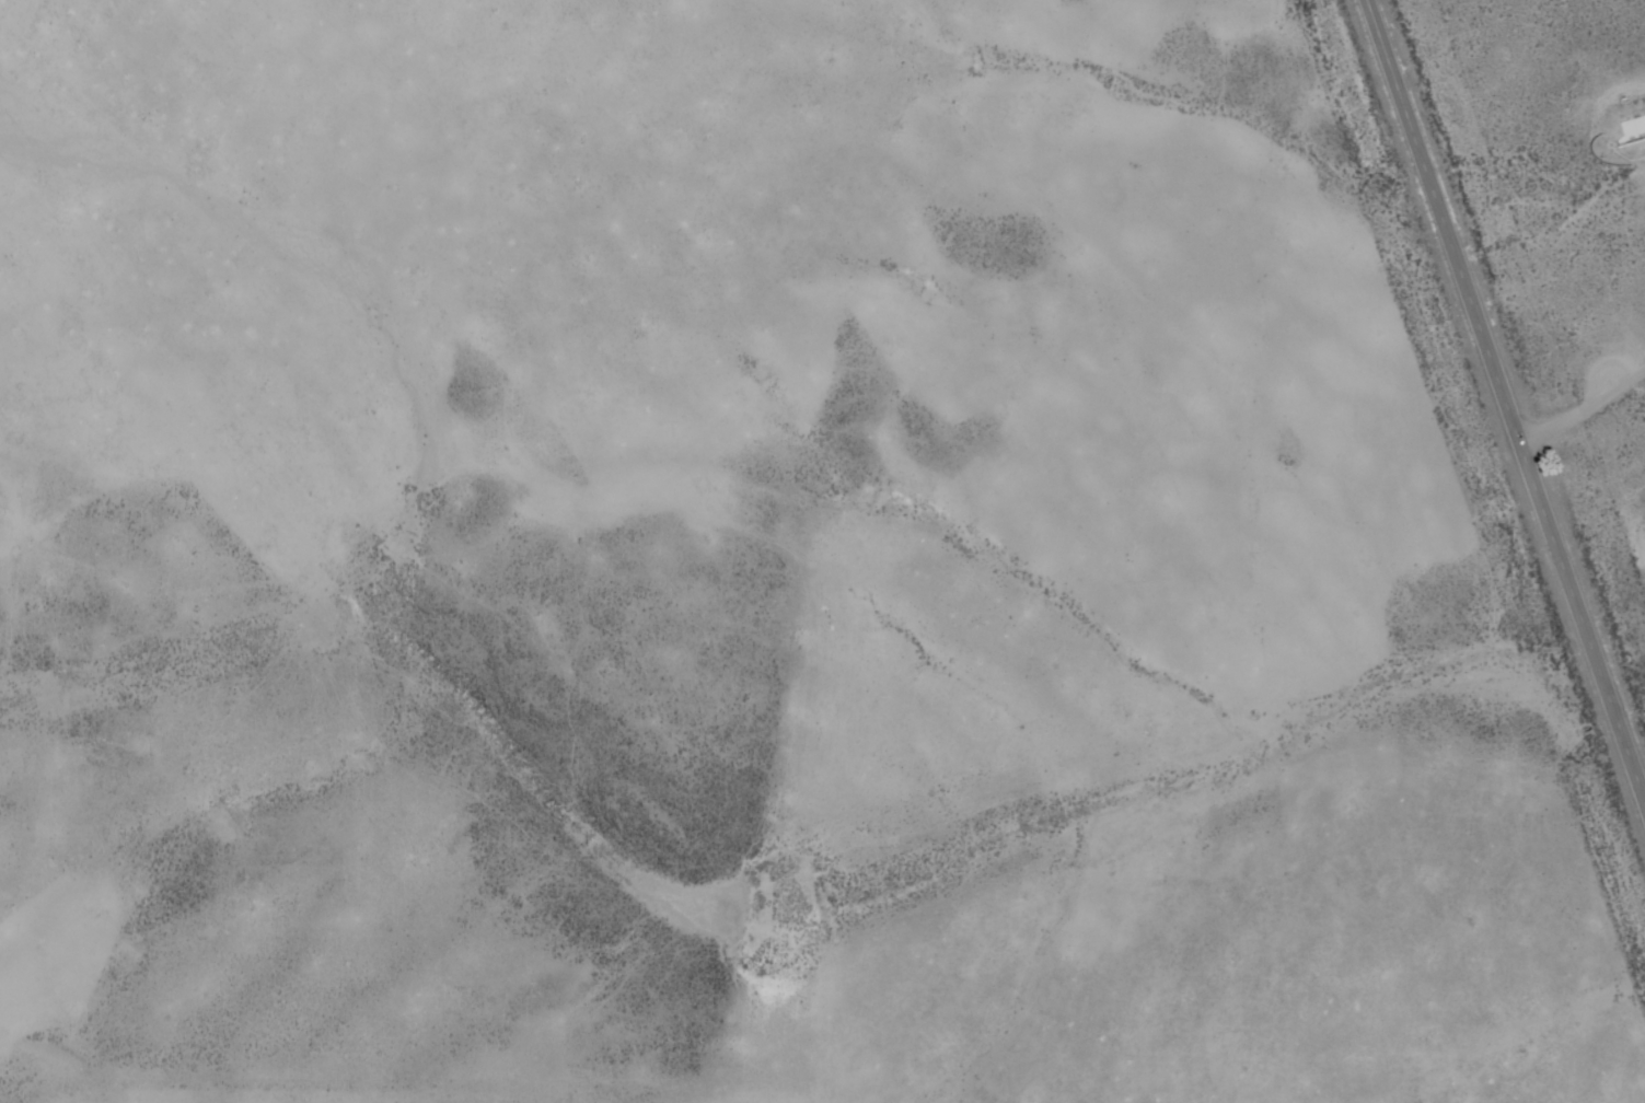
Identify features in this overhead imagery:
road: (1637, 383)
road: (1507, 396)
road: (1586, 409)

